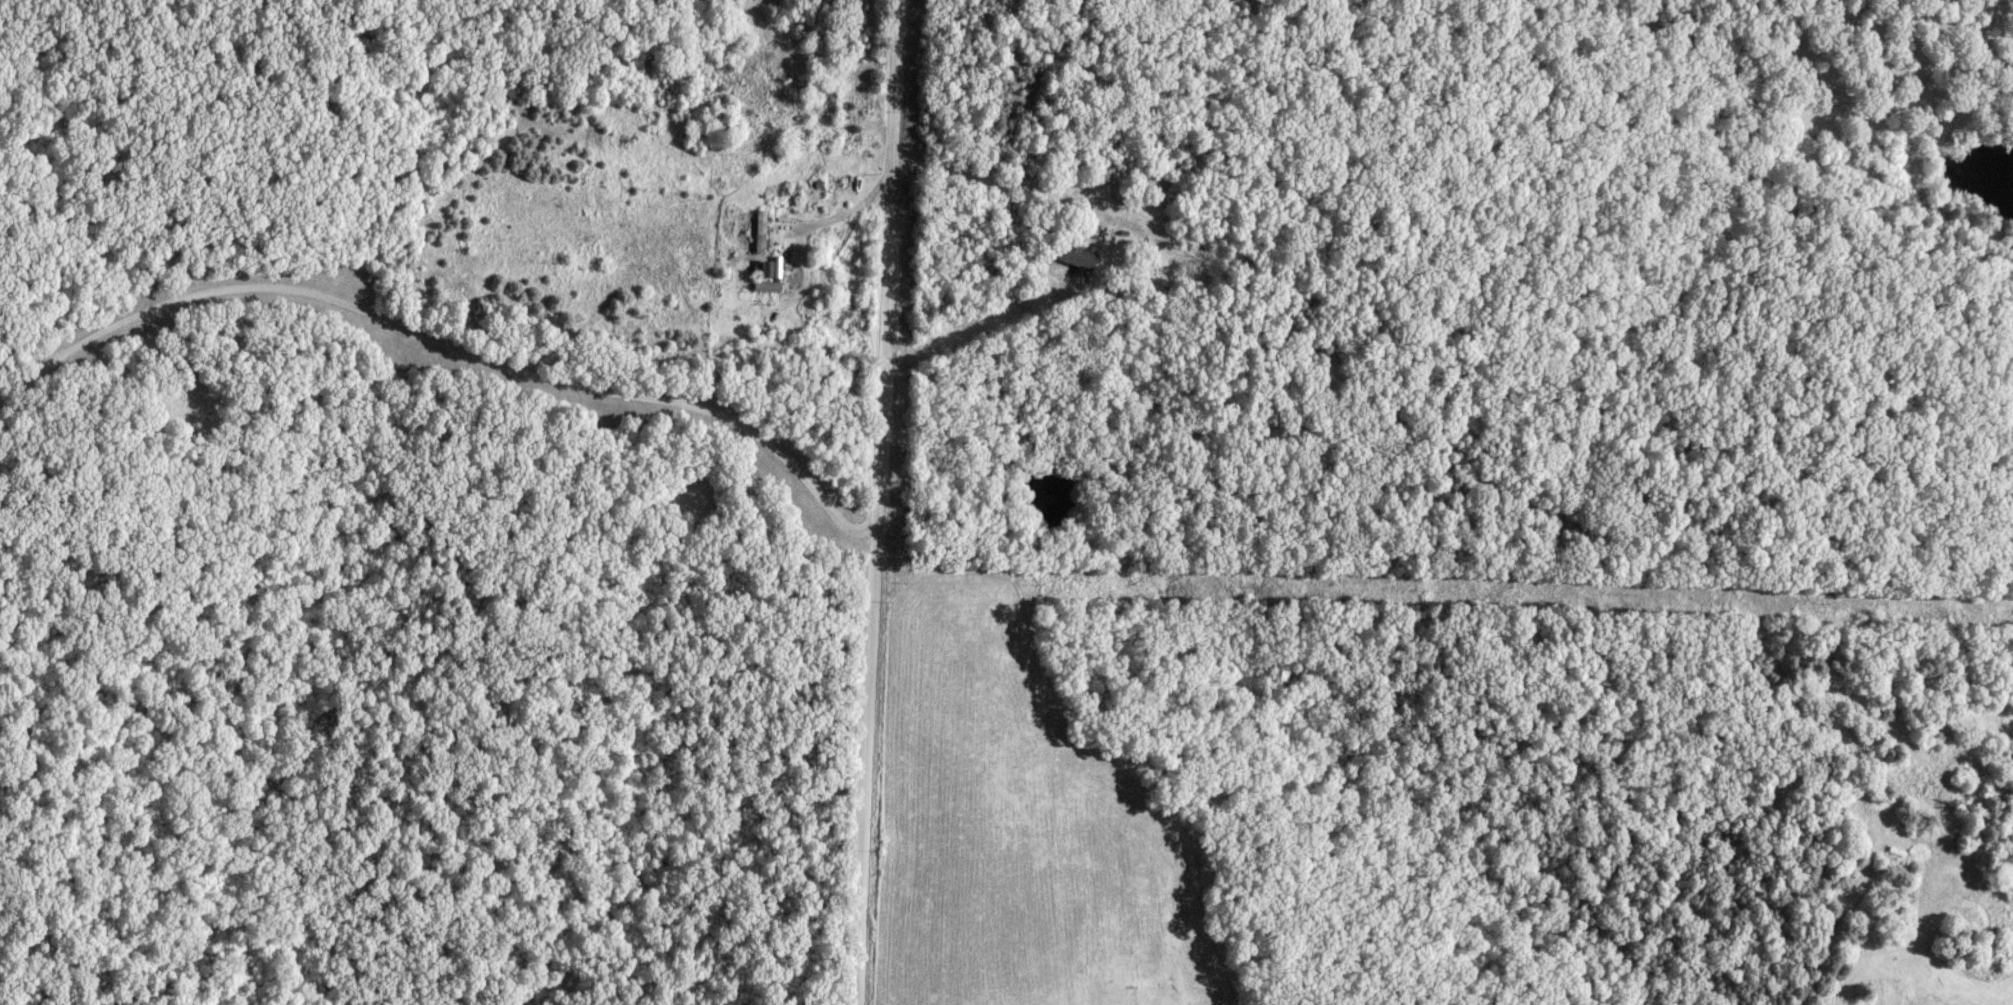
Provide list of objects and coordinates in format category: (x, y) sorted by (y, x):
building: (823, 91)
road: (1005, 185)
road: (834, 218)
building: (763, 235)
building: (1076, 256)
building: (766, 269)
road: (447, 344)
road: (875, 502)

